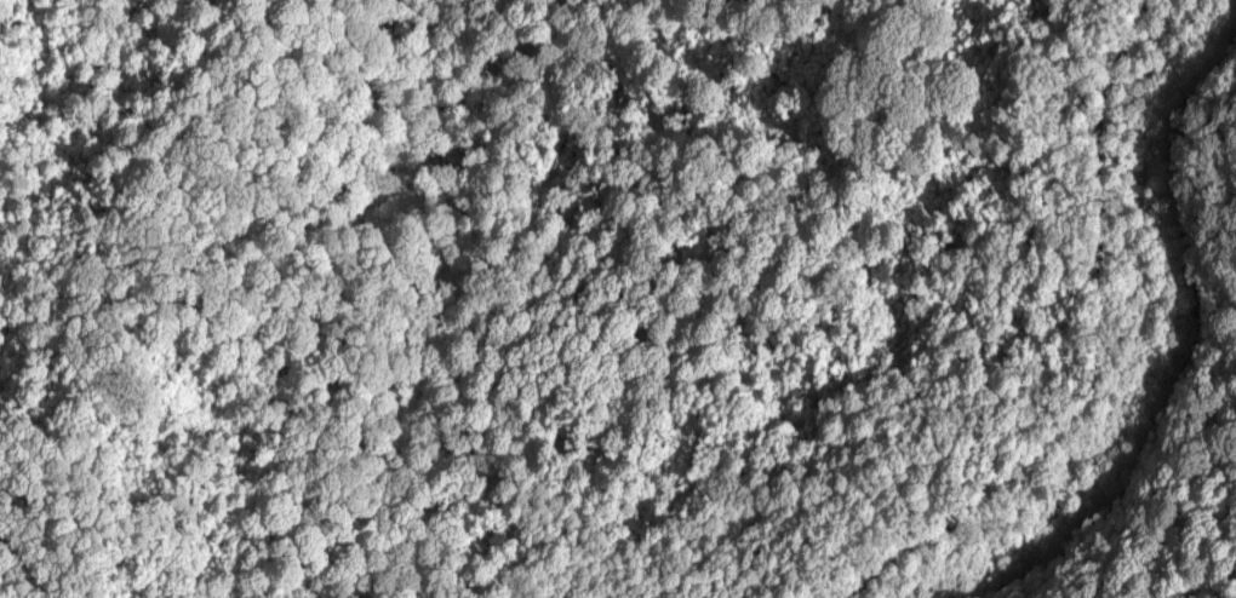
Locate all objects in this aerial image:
road: (1094, 352)

